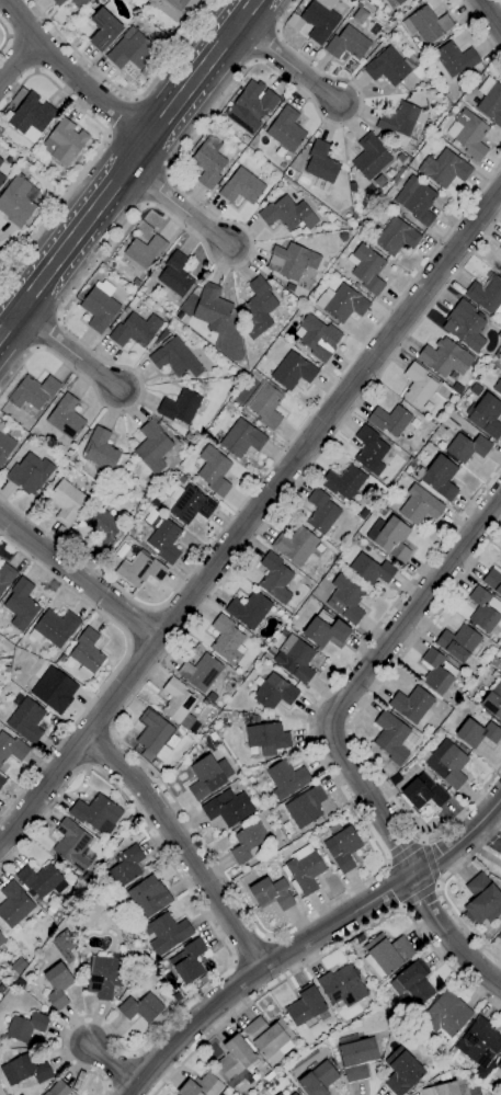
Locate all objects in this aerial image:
building: (399, 1)
building: (58, 2)
building: (78, 3)
road: (498, 3)
building: (173, 7)
building: (360, 15)
road: (488, 19)
building: (319, 20)
building: (425, 24)
road: (480, 27)
building: (103, 30)
road: (4, 35)
building: (346, 44)
building: (130, 50)
road: (16, 57)
building: (455, 58)
road: (286, 61)
building: (389, 67)
road: (71, 76)
road: (126, 96)
building: (490, 101)
building: (250, 106)
road: (115, 114)
building: (30, 117)
building: (402, 121)
building: (285, 129)
building: (468, 135)
building: (62, 141)
road: (100, 150)
building: (369, 157)
building: (207, 159)
building: (0, 162)
building: (320, 162)
road: (126, 167)
building: (444, 169)
building: (2, 180)
building: (241, 186)
building: (415, 199)
building: (18, 201)
road: (178, 205)
building: (287, 214)
building: (396, 237)
building: (500, 248)
building: (145, 251)
building: (291, 261)
road: (239, 263)
building: (366, 269)
building: (500, 270)
building: (155, 272)
road: (18, 274)
building: (174, 275)
building: (486, 295)
building: (259, 303)
building: (341, 303)
building: (99, 307)
building: (212, 309)
building: (465, 326)
building: (135, 331)
building: (318, 338)
road: (64, 353)
building: (445, 357)
building: (174, 358)
building: (293, 372)
building: (418, 385)
building: (498, 387)
building: (33, 392)
building: (265, 403)
building: (180, 407)
building: (487, 417)
building: (66, 418)
building: (389, 420)
building: (190, 437)
building: (241, 438)
building: (4, 443)
building: (151, 447)
building: (467, 447)
building: (100, 449)
building: (369, 452)
road: (272, 464)
building: (213, 470)
building: (30, 474)
building: (437, 478)
building: (343, 482)
building: (145, 495)
building: (66, 501)
building: (155, 502)
building: (189, 505)
building: (419, 505)
building: (321, 512)
road: (249, 515)
building: (102, 528)
building: (392, 539)
building: (164, 540)
building: (295, 545)
building: (140, 570)
building: (369, 570)
building: (5, 575)
road: (77, 577)
building: (274, 579)
building: (493, 581)
building: (348, 598)
building: (21, 603)
building: (248, 609)
building: (483, 611)
building: (54, 628)
building: (324, 630)
building: (226, 640)
building: (457, 642)
building: (87, 653)
building: (294, 659)
road: (116, 665)
building: (500, 666)
building: (436, 671)
building: (200, 672)
building: (54, 689)
building: (274, 693)
building: (492, 700)
building: (178, 705)
building: (412, 706)
building: (263, 712)
building: (25, 718)
road: (350, 725)
building: (477, 733)
building: (153, 737)
building: (267, 738)
building: (392, 738)
road: (342, 741)
building: (11, 748)
building: (449, 763)
building: (207, 776)
building: (286, 779)
building: (1, 782)
building: (423, 797)
building: (305, 807)
building: (227, 808)
building: (96, 813)
road: (186, 821)
road: (490, 834)
road: (180, 843)
building: (248, 843)
building: (72, 845)
building: (342, 846)
road: (401, 852)
road: (430, 860)
building: (125, 866)
building: (303, 870)
building: (41, 880)
road: (437, 890)
building: (271, 893)
road: (419, 894)
building: (148, 897)
building: (481, 900)
building: (13, 904)
building: (167, 933)
road: (217, 936)
building: (2, 937)
road: (308, 937)
road: (248, 949)
road: (328, 950)
building: (386, 955)
building: (187, 961)
building: (105, 976)
building: (411, 984)
building: (57, 985)
building: (341, 986)
building: (306, 1006)
building: (140, 1007)
building: (445, 1014)
building: (25, 1027)
building: (269, 1038)
building: (479, 1042)
building: (355, 1057)
building: (235, 1061)
building: (499, 1065)
road: (113, 1067)
building: (24, 1070)
building: (401, 1071)
building: (317, 1080)
building: (202, 1086)
building: (58, 1088)
building: (441, 1090)
building: (462, 1090)
building: (278, 1094)
building: (293, 1094)

